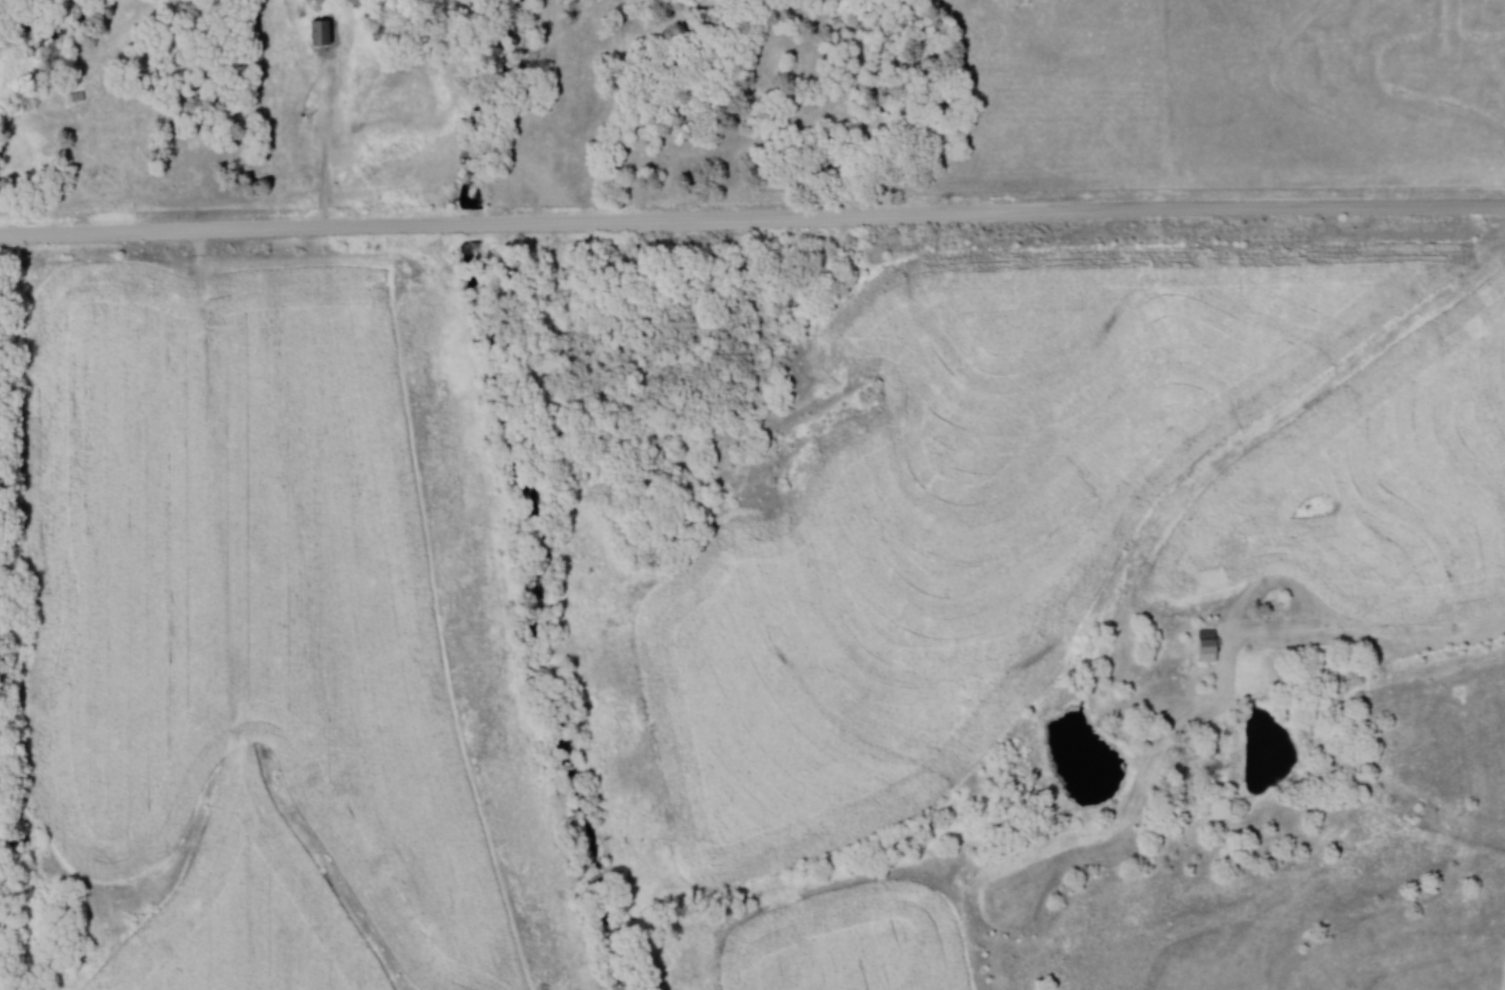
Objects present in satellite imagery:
building: (321, 34)
building: (75, 96)
road: (1005, 217)
road: (480, 222)
road: (227, 229)
building: (1208, 645)

